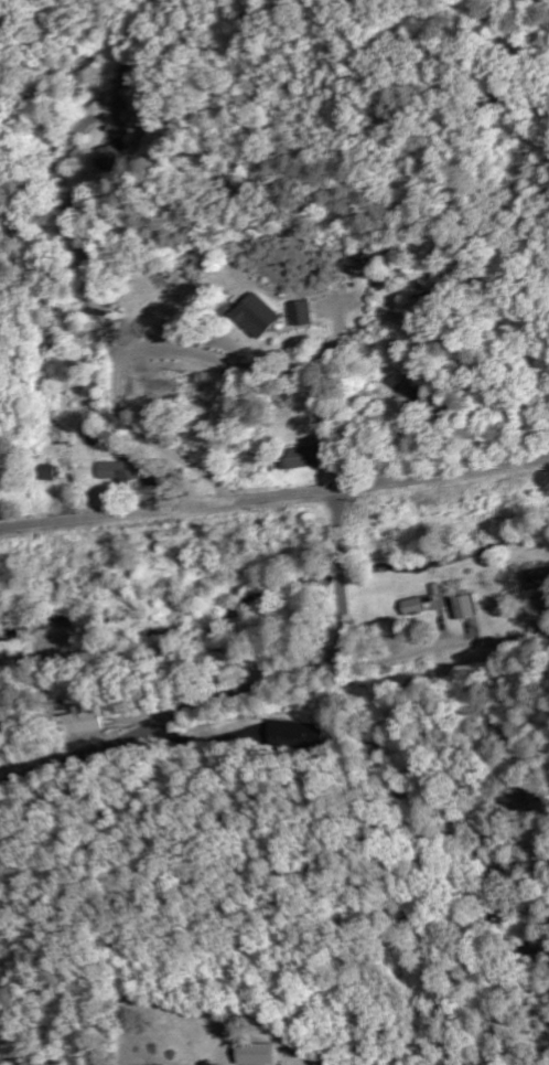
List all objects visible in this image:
building: (298, 312)
building: (255, 316)
building: (299, 457)
building: (125, 470)
road: (276, 497)
road: (344, 561)
building: (540, 581)
building: (419, 606)
building: (470, 607)
road: (182, 720)
building: (94, 721)
building: (303, 735)
building: (258, 1053)

